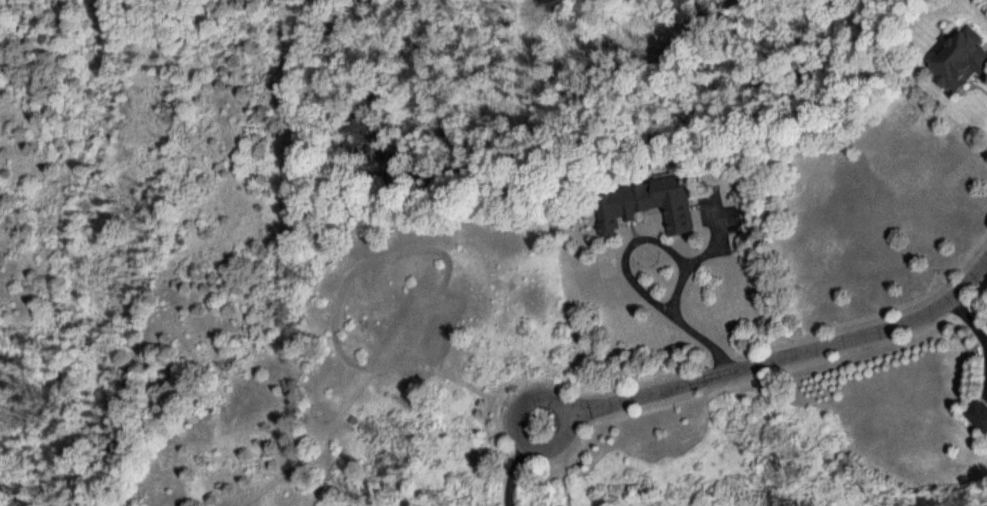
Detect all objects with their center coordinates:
building: (963, 60)
building: (650, 206)
park: (148, 254)
road: (676, 303)
road: (792, 356)
building: (978, 414)
road: (516, 430)
road: (514, 475)

